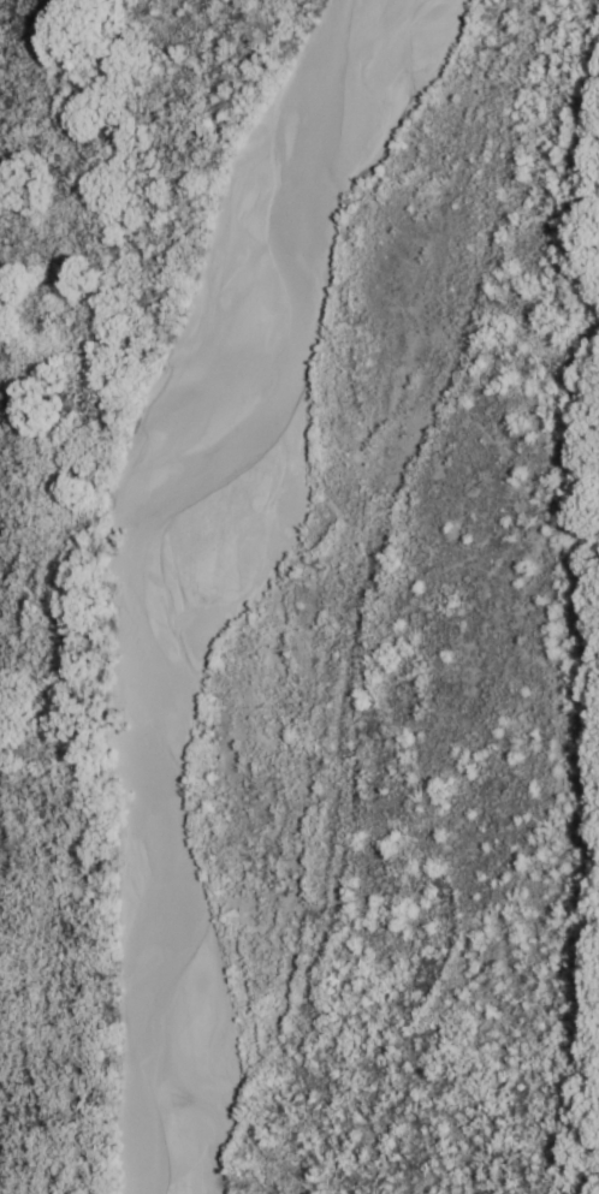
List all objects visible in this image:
river: (159, 569)

